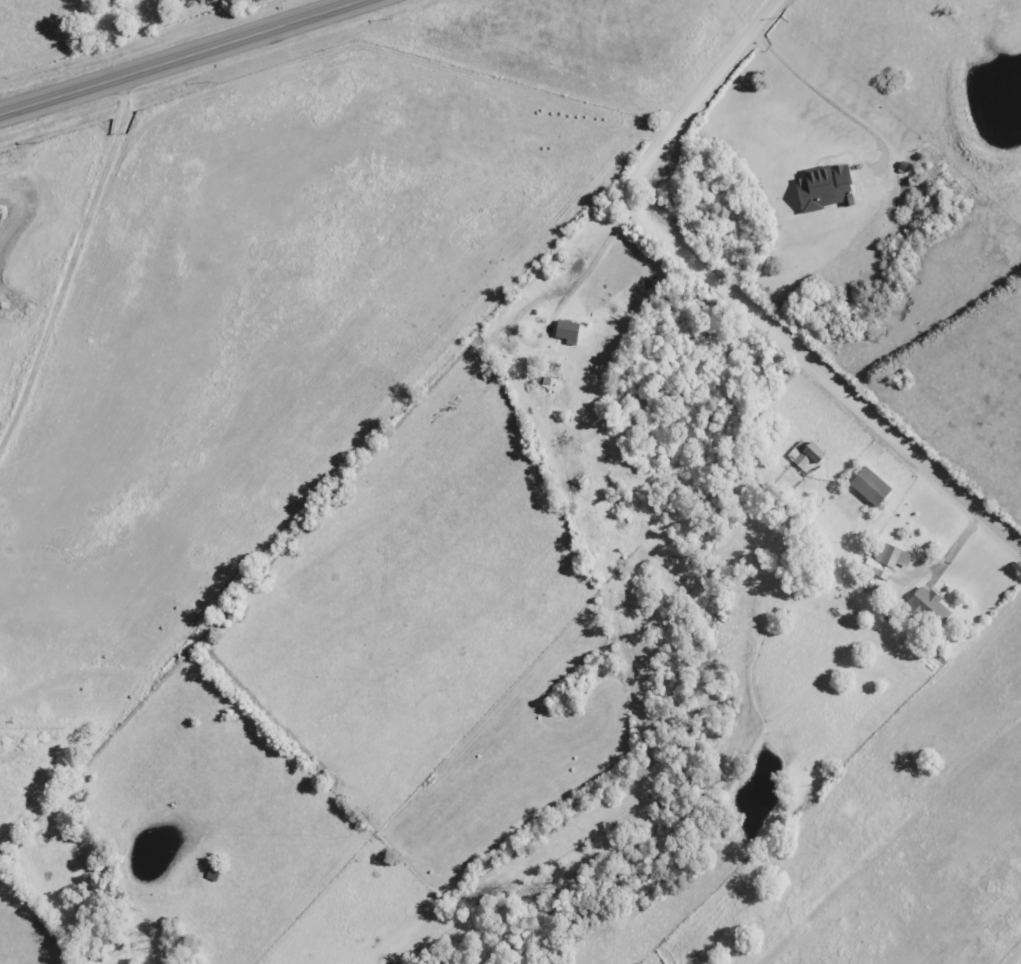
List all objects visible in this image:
road: (244, 37)
road: (64, 93)
road: (60, 239)
road: (732, 295)
building: (557, 333)
building: (862, 488)
building: (882, 562)
building: (923, 609)

